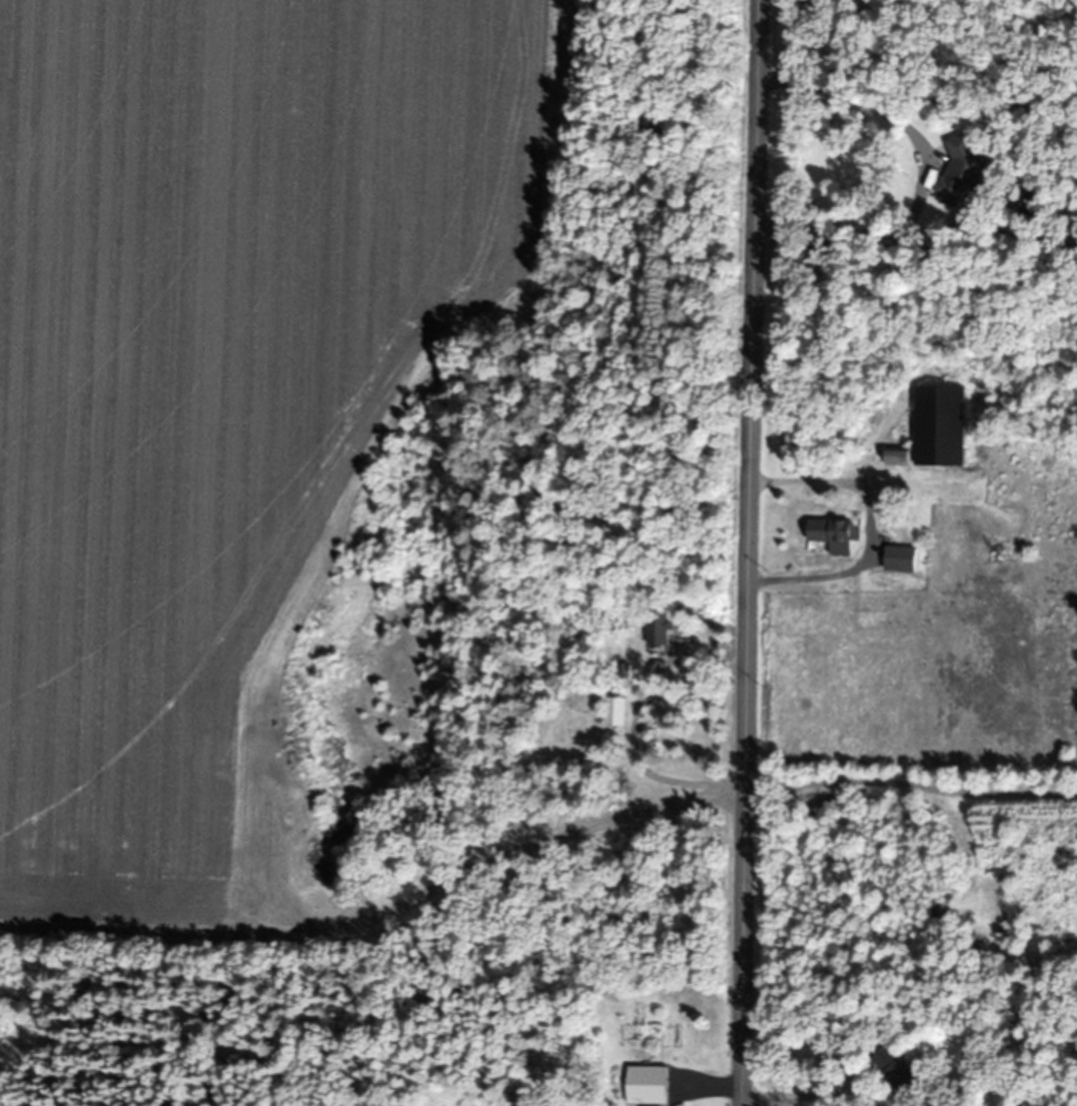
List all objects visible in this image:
building: (957, 170)
crop: (225, 407)
building: (942, 425)
building: (900, 457)
building: (836, 535)
road: (752, 552)
building: (903, 559)
building: (659, 634)
building: (614, 712)
building: (897, 1071)

